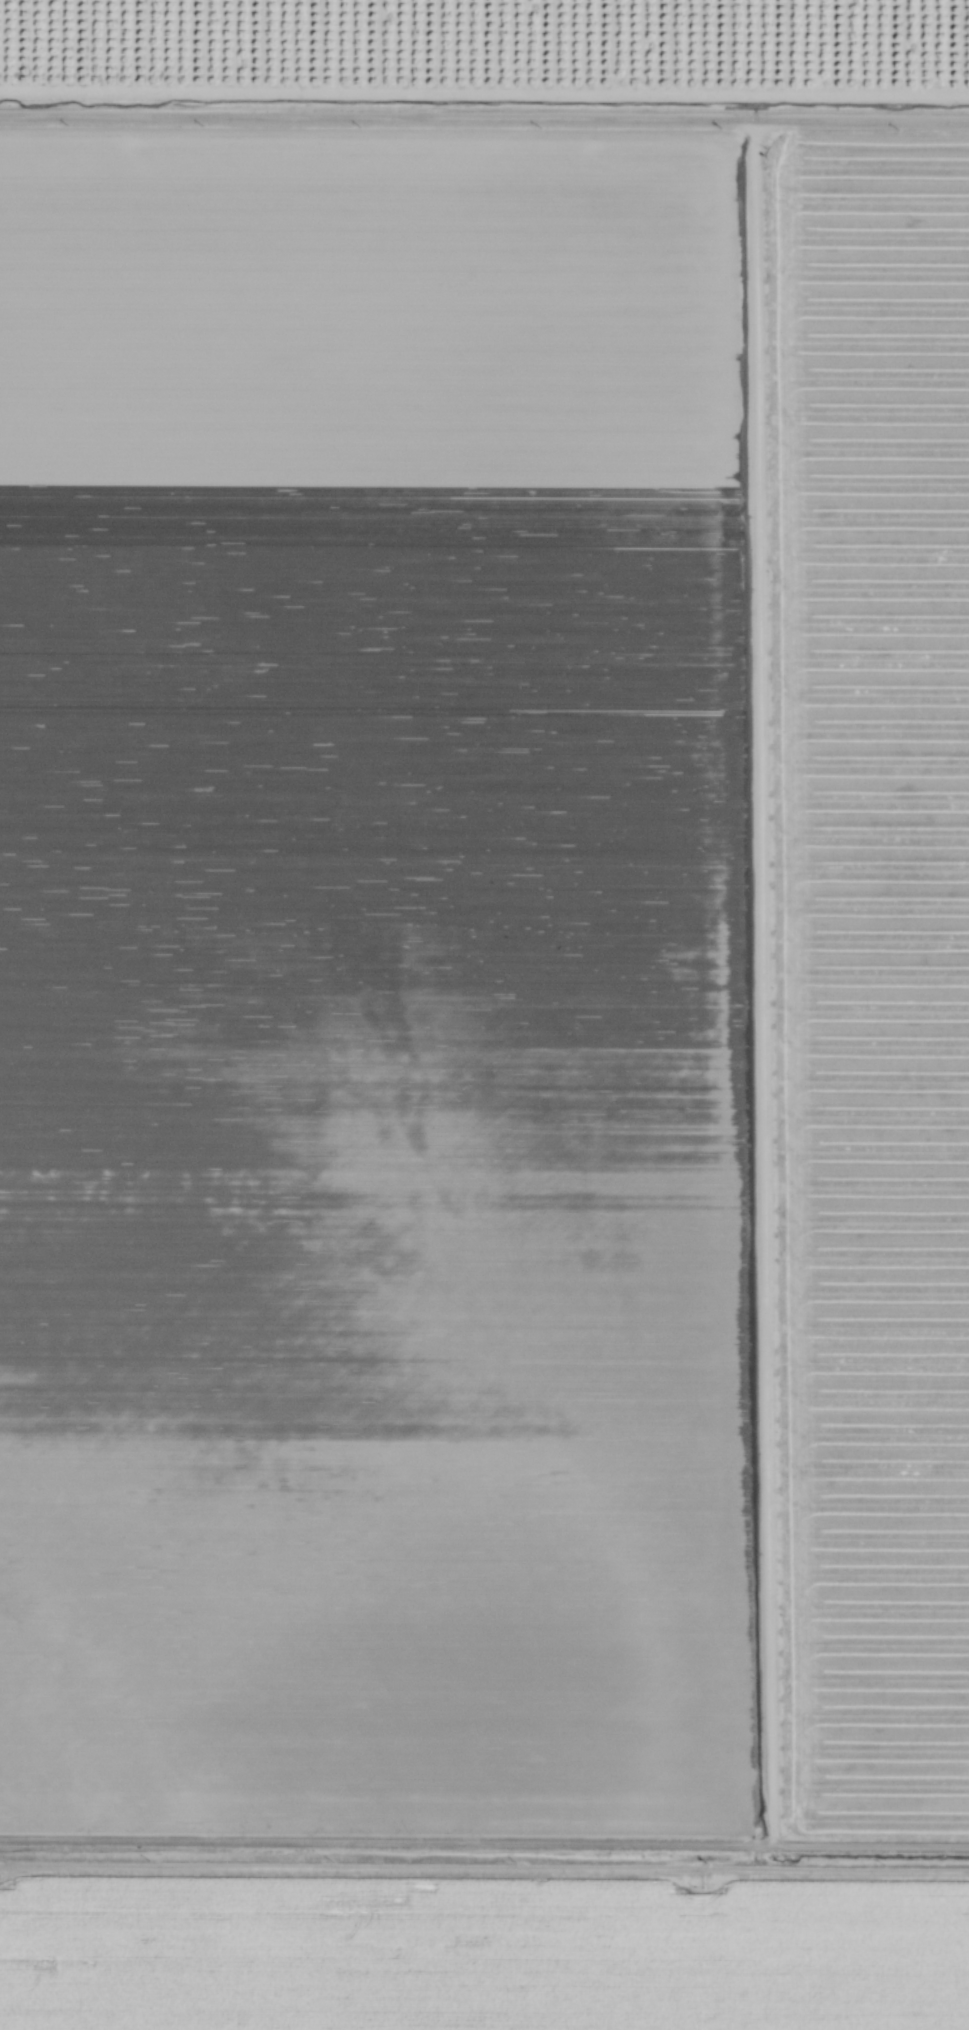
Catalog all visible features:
road: (484, 118)

